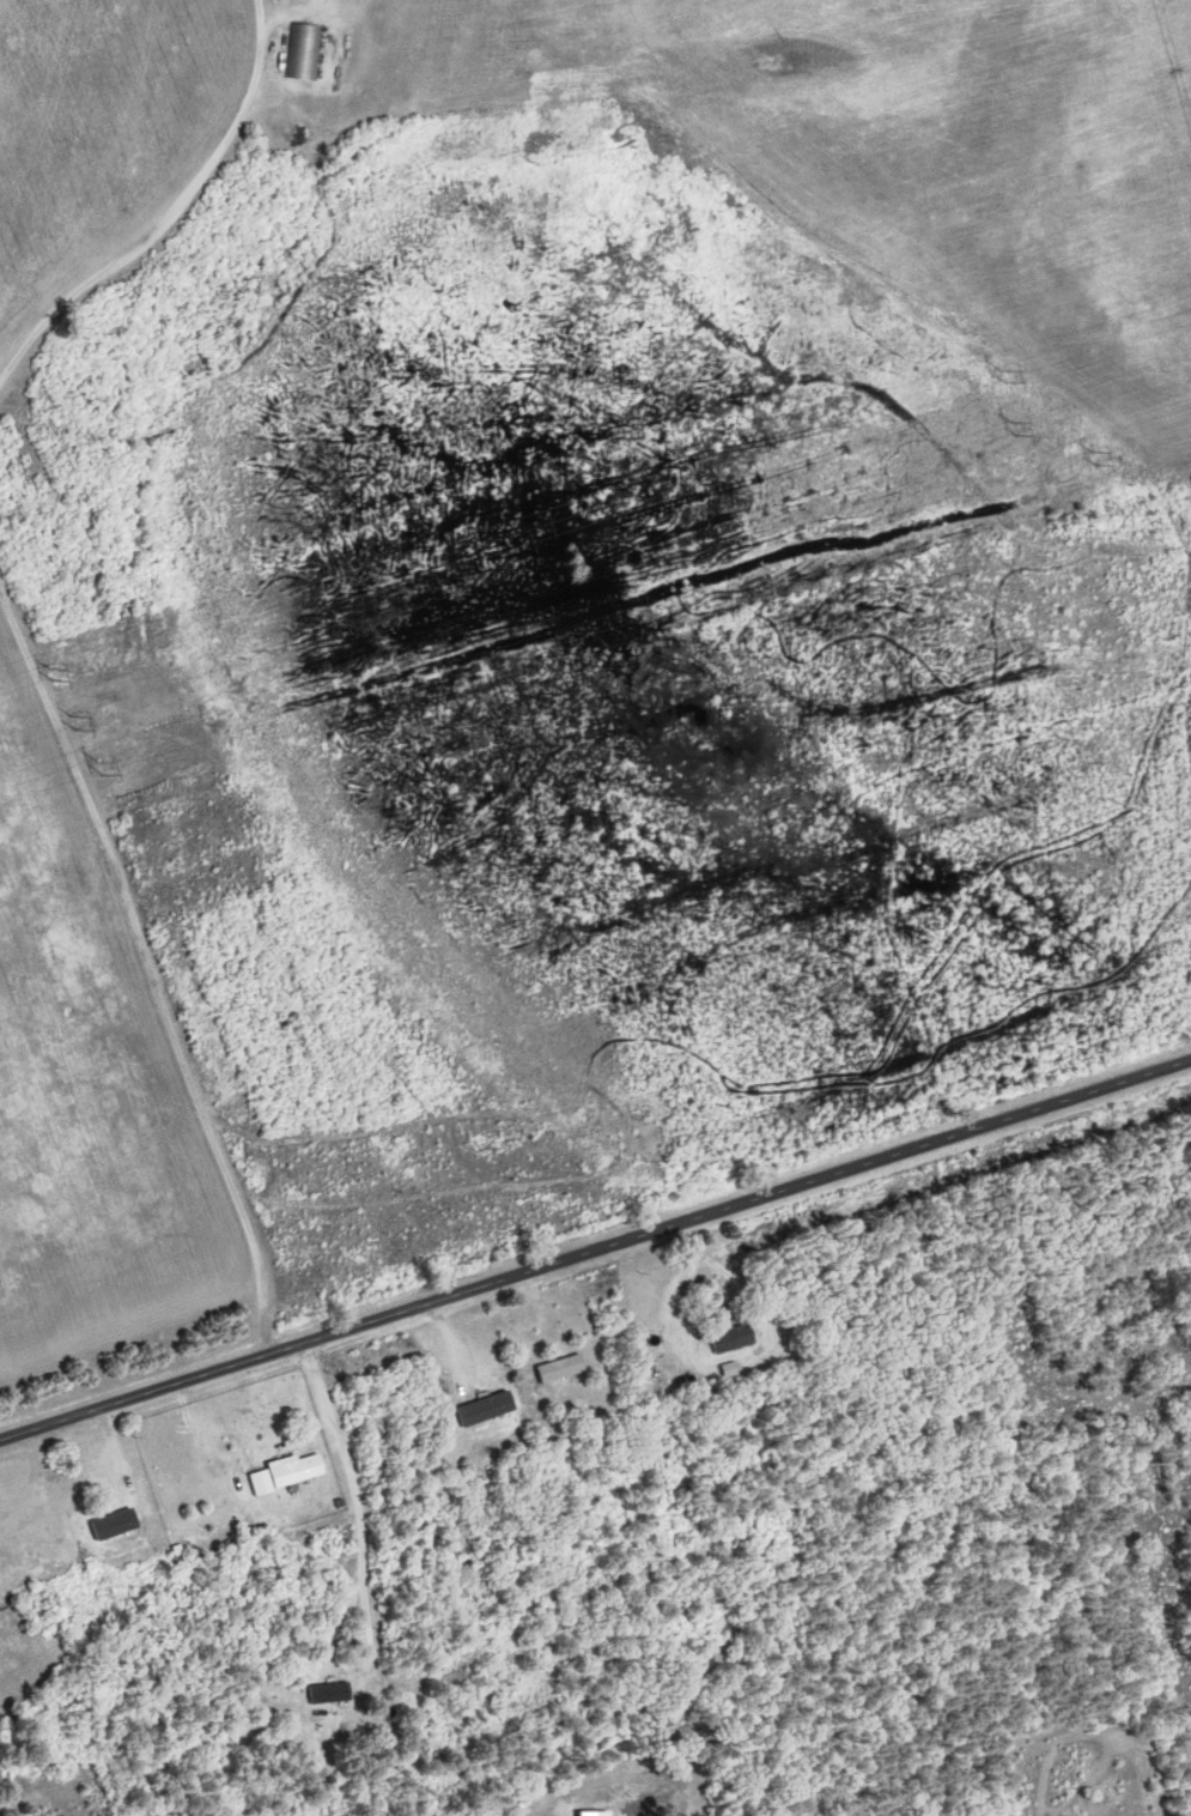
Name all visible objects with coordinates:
building: (300, 53)
road: (170, 213)
power tower: (1002, 375)
power tower: (1011, 430)
power tower: (1092, 456)
power tower: (537, 520)
power tower: (557, 574)
power tower: (628, 603)
power tower: (55, 672)
power tower: (73, 722)
power tower: (101, 767)
road: (150, 967)
road: (595, 1249)
building: (724, 1339)
building: (475, 1411)
building: (290, 1472)
building: (114, 1525)
building: (323, 1694)

